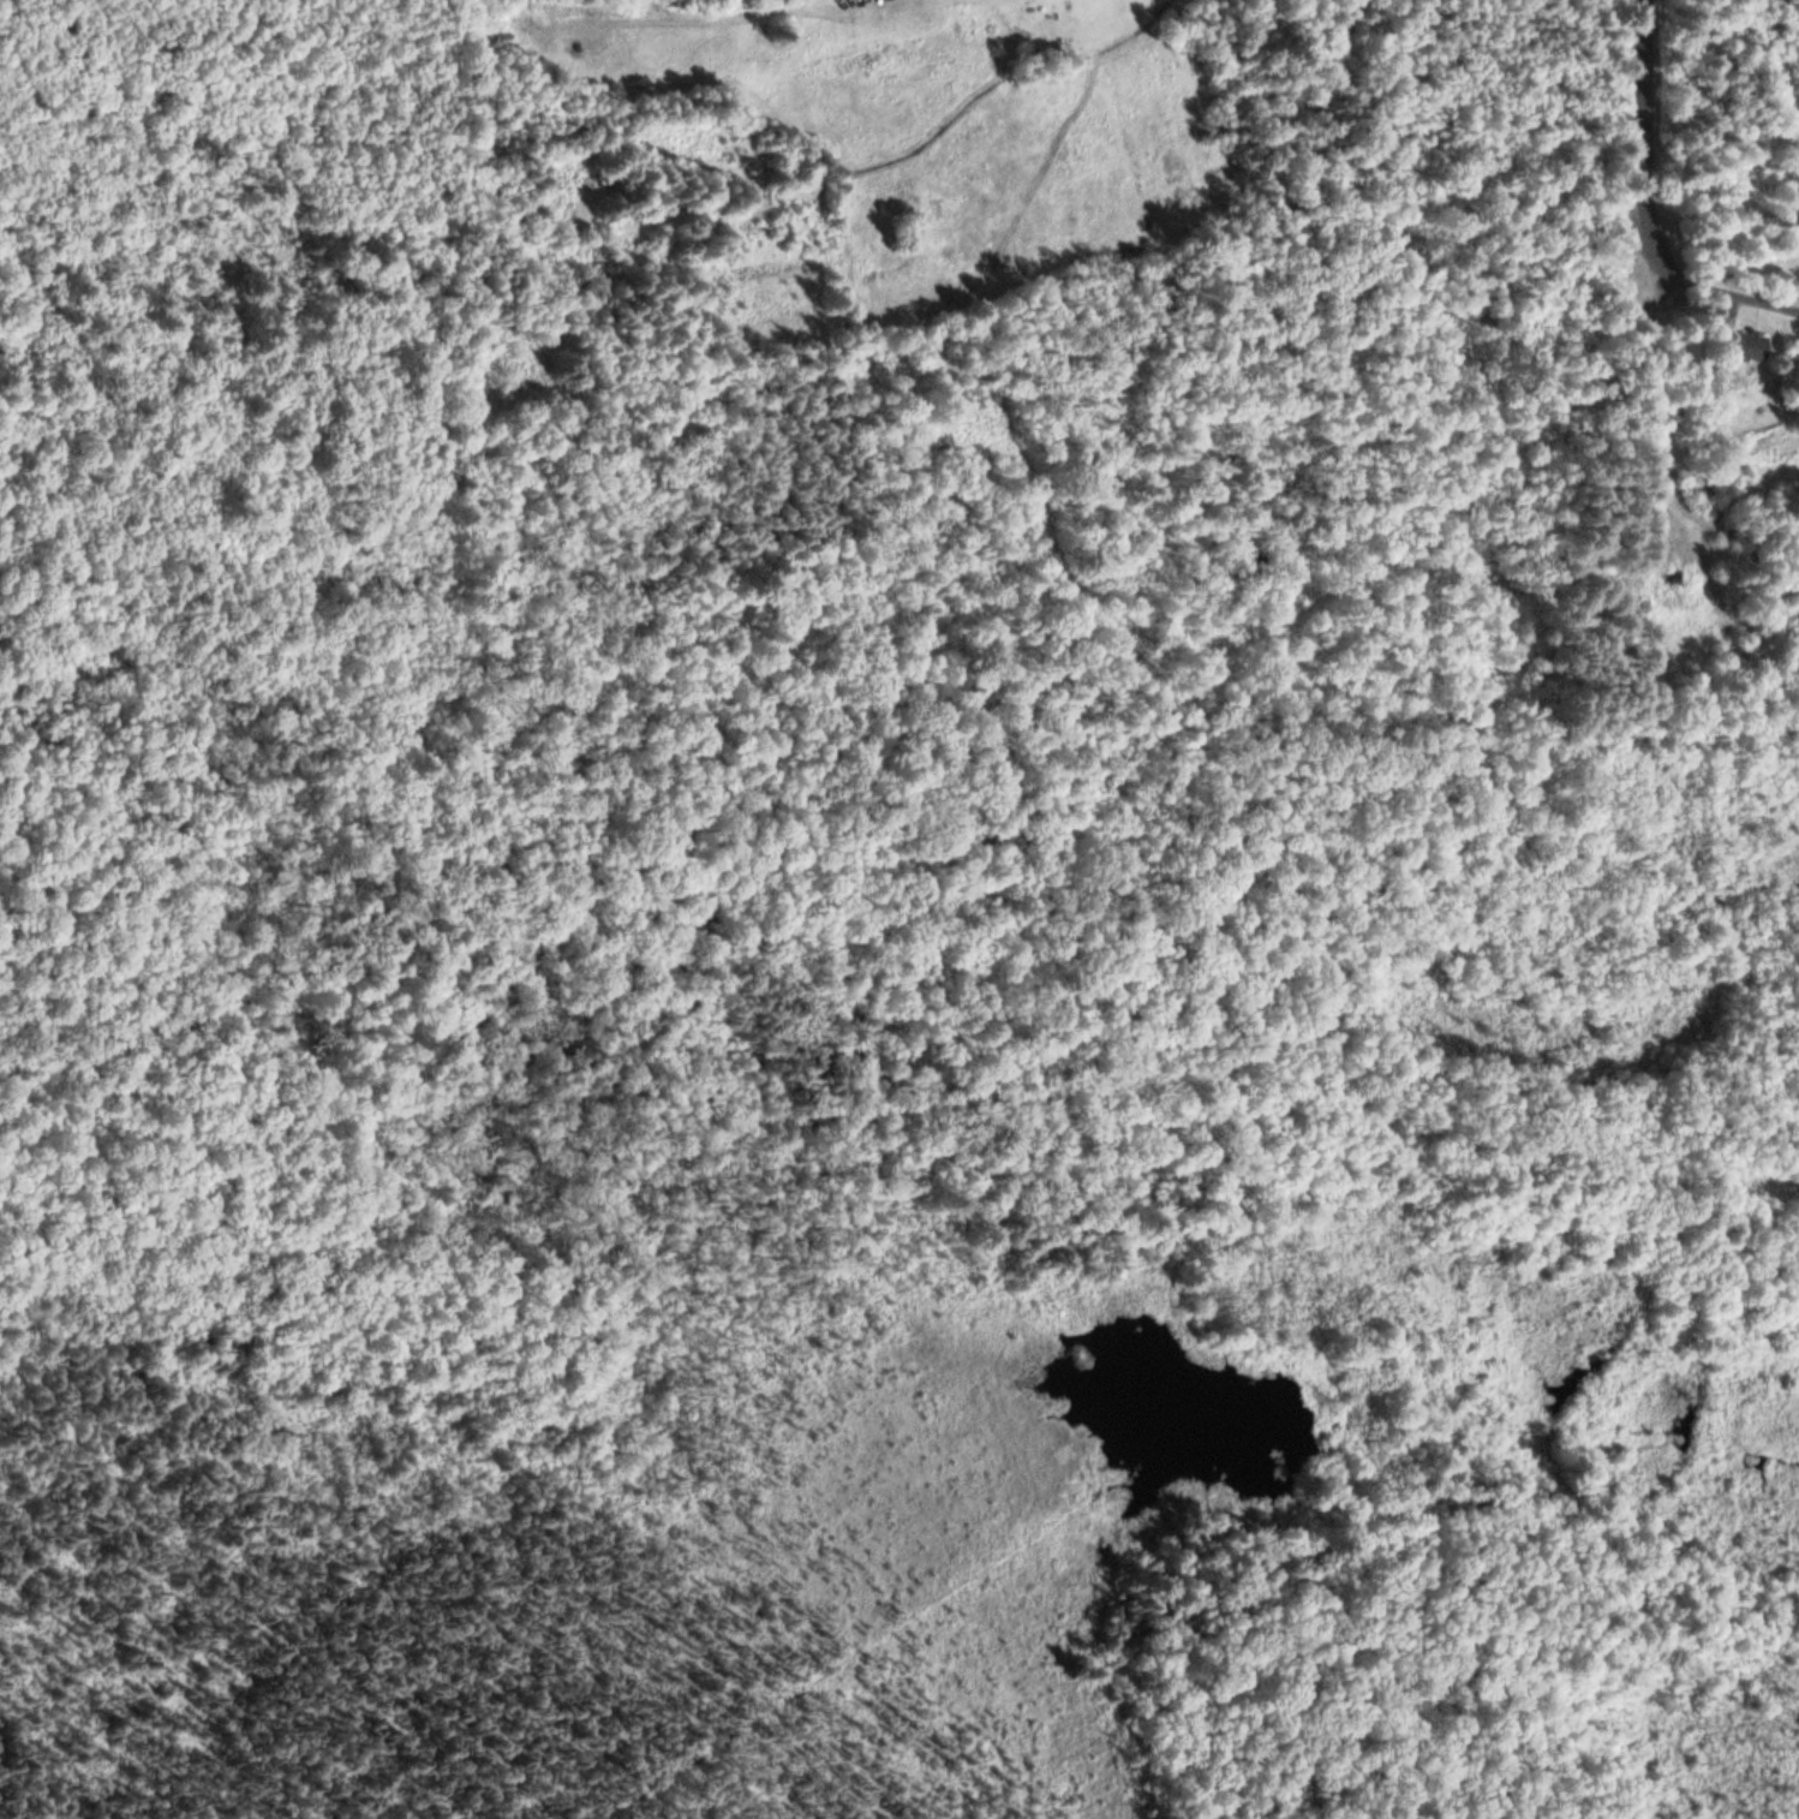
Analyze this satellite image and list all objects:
road: (1660, 139)
road: (1733, 293)
building: (1752, 347)

